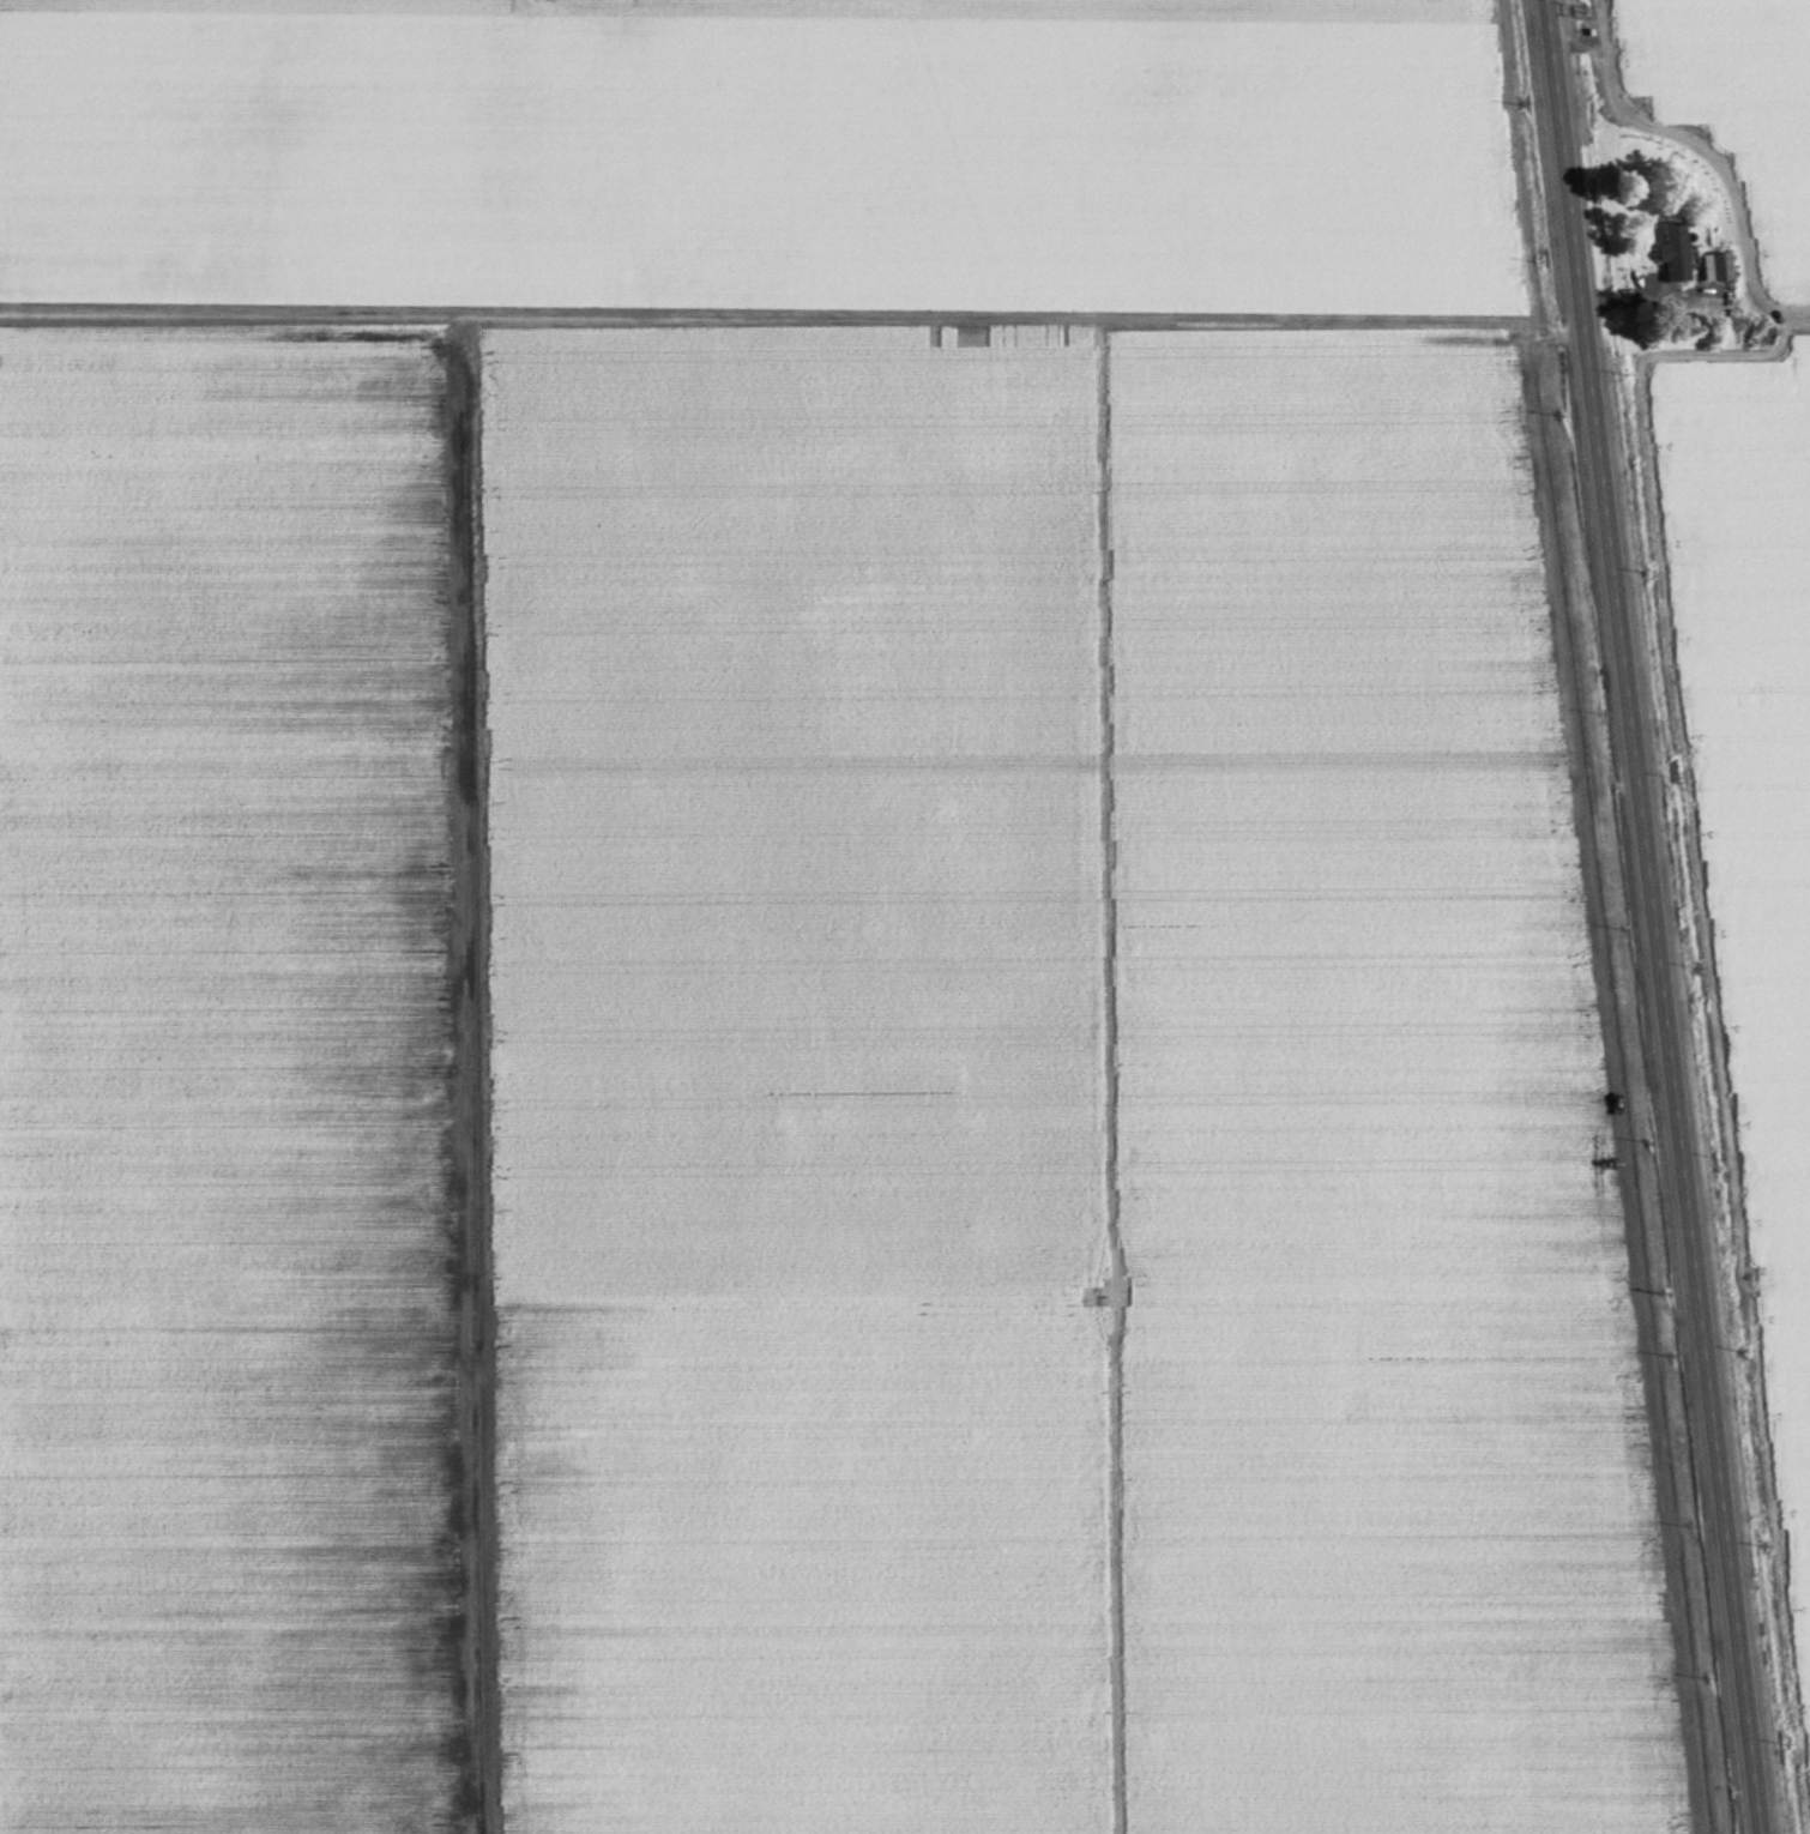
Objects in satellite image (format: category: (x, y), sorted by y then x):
road: (1728, 193)
building: (1673, 252)
building: (1717, 266)
road: (1653, 917)

